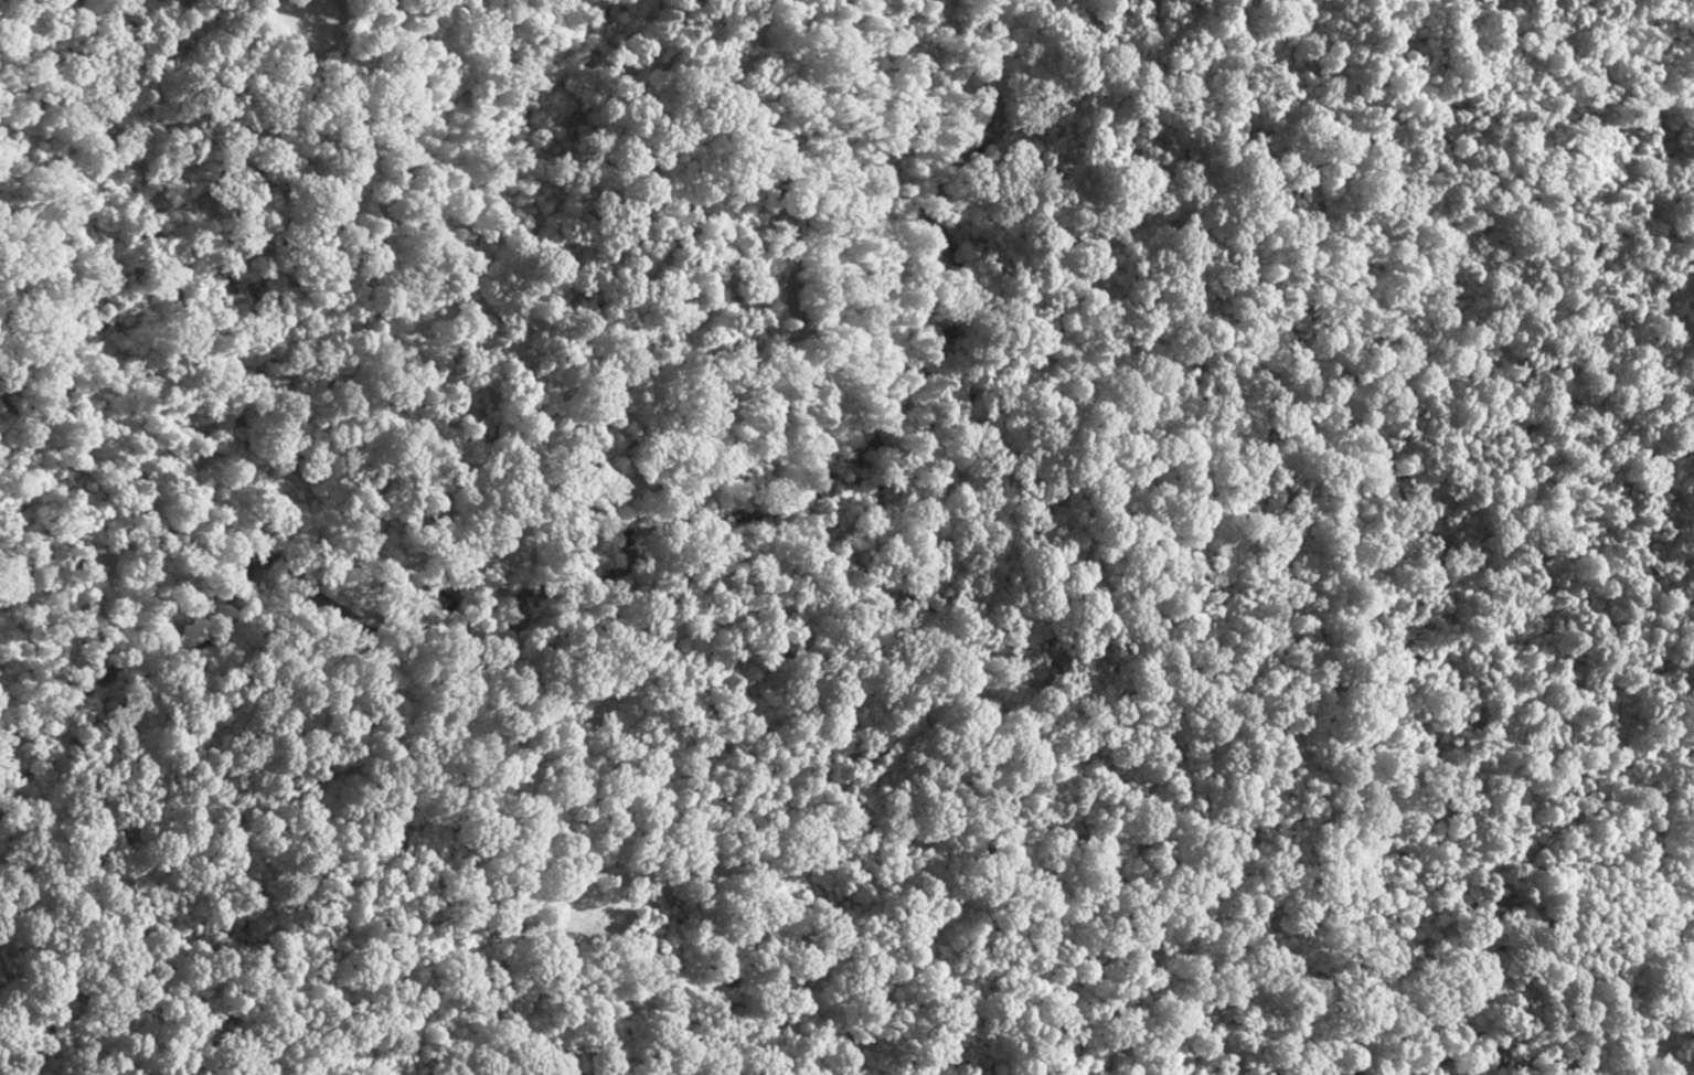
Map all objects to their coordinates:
road: (739, 909)

